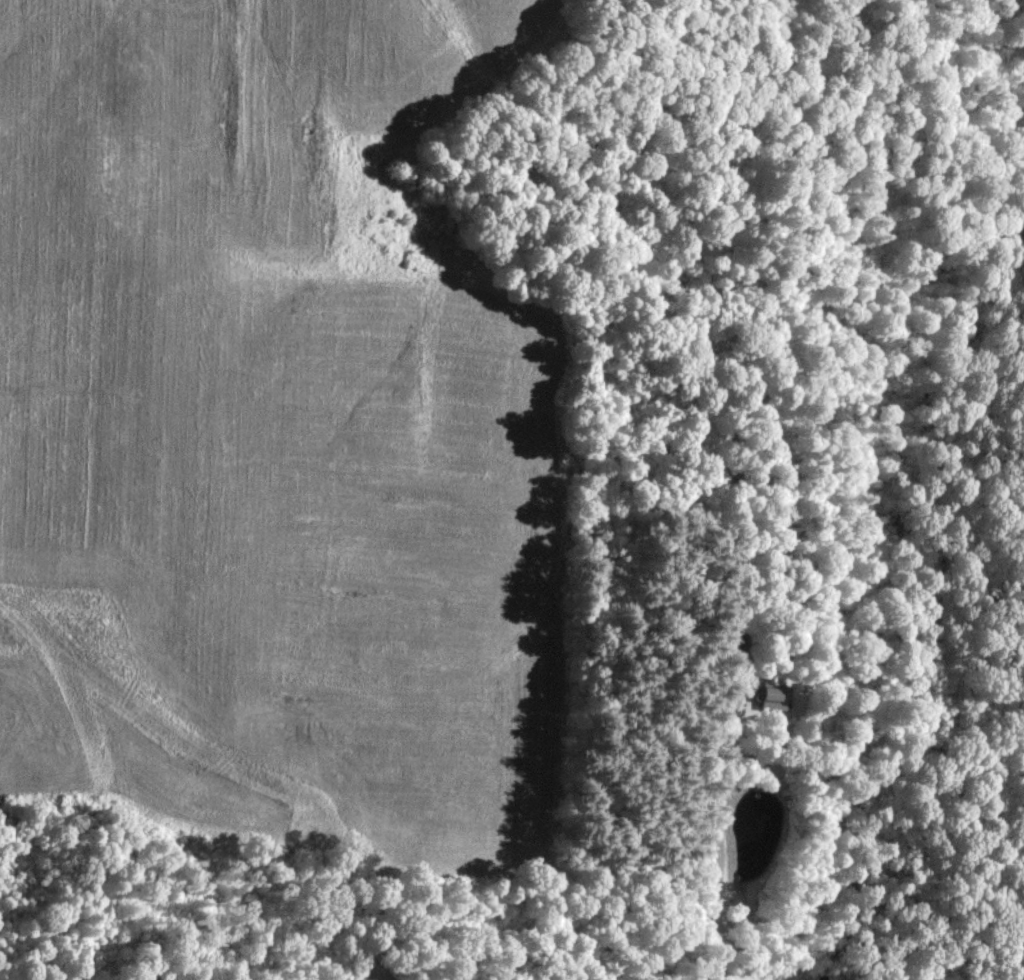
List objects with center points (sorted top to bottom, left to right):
building: (780, 694)

